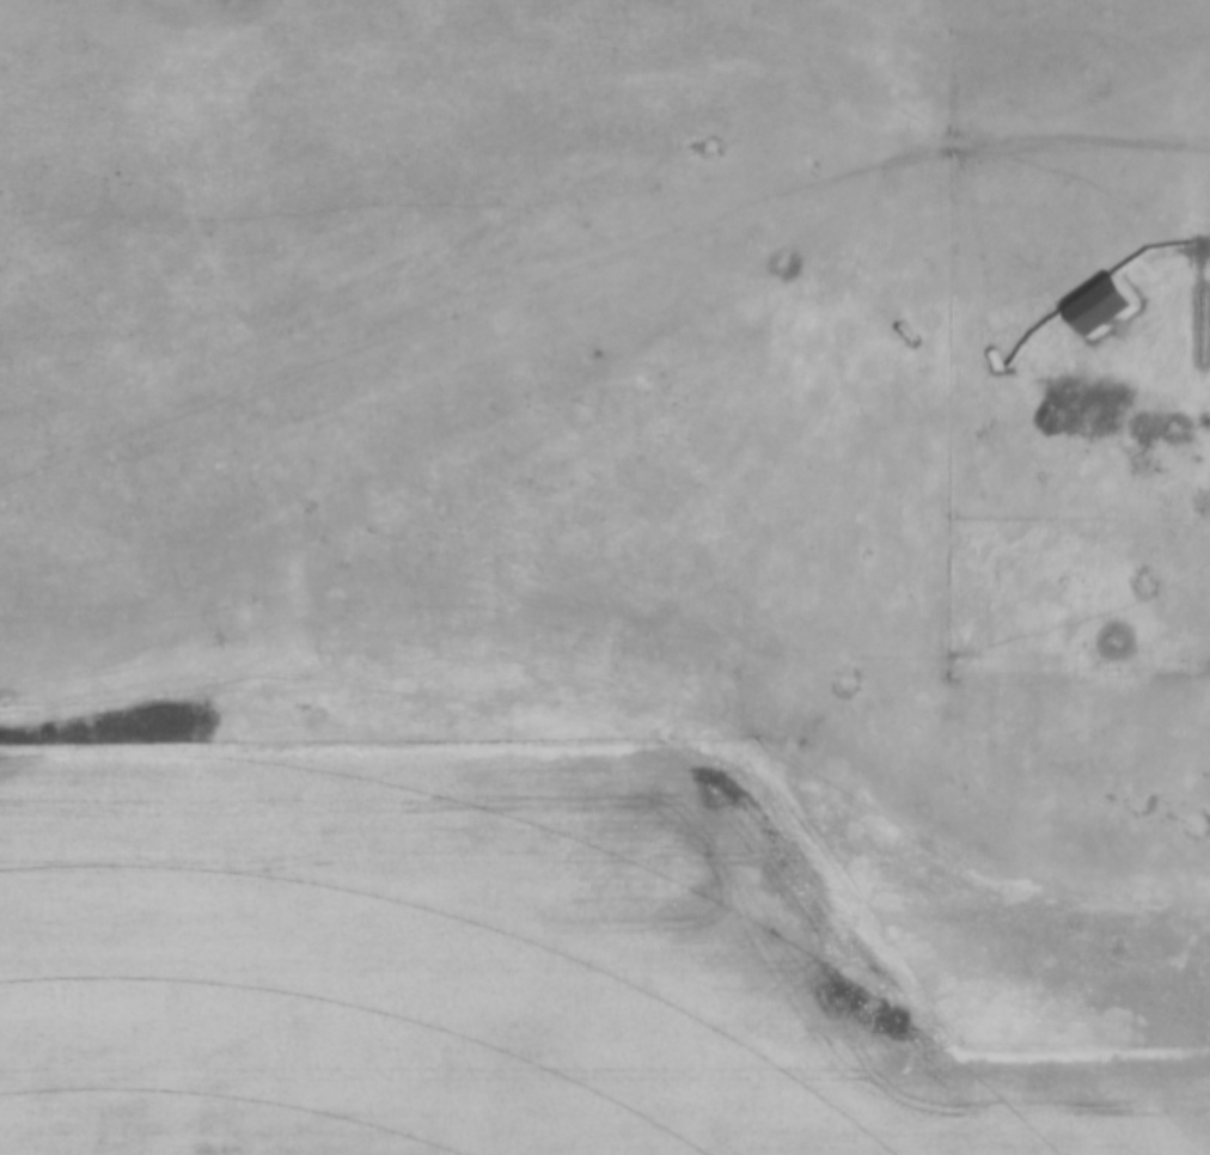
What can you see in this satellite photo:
road: (1202, 252)
building: (1095, 306)

